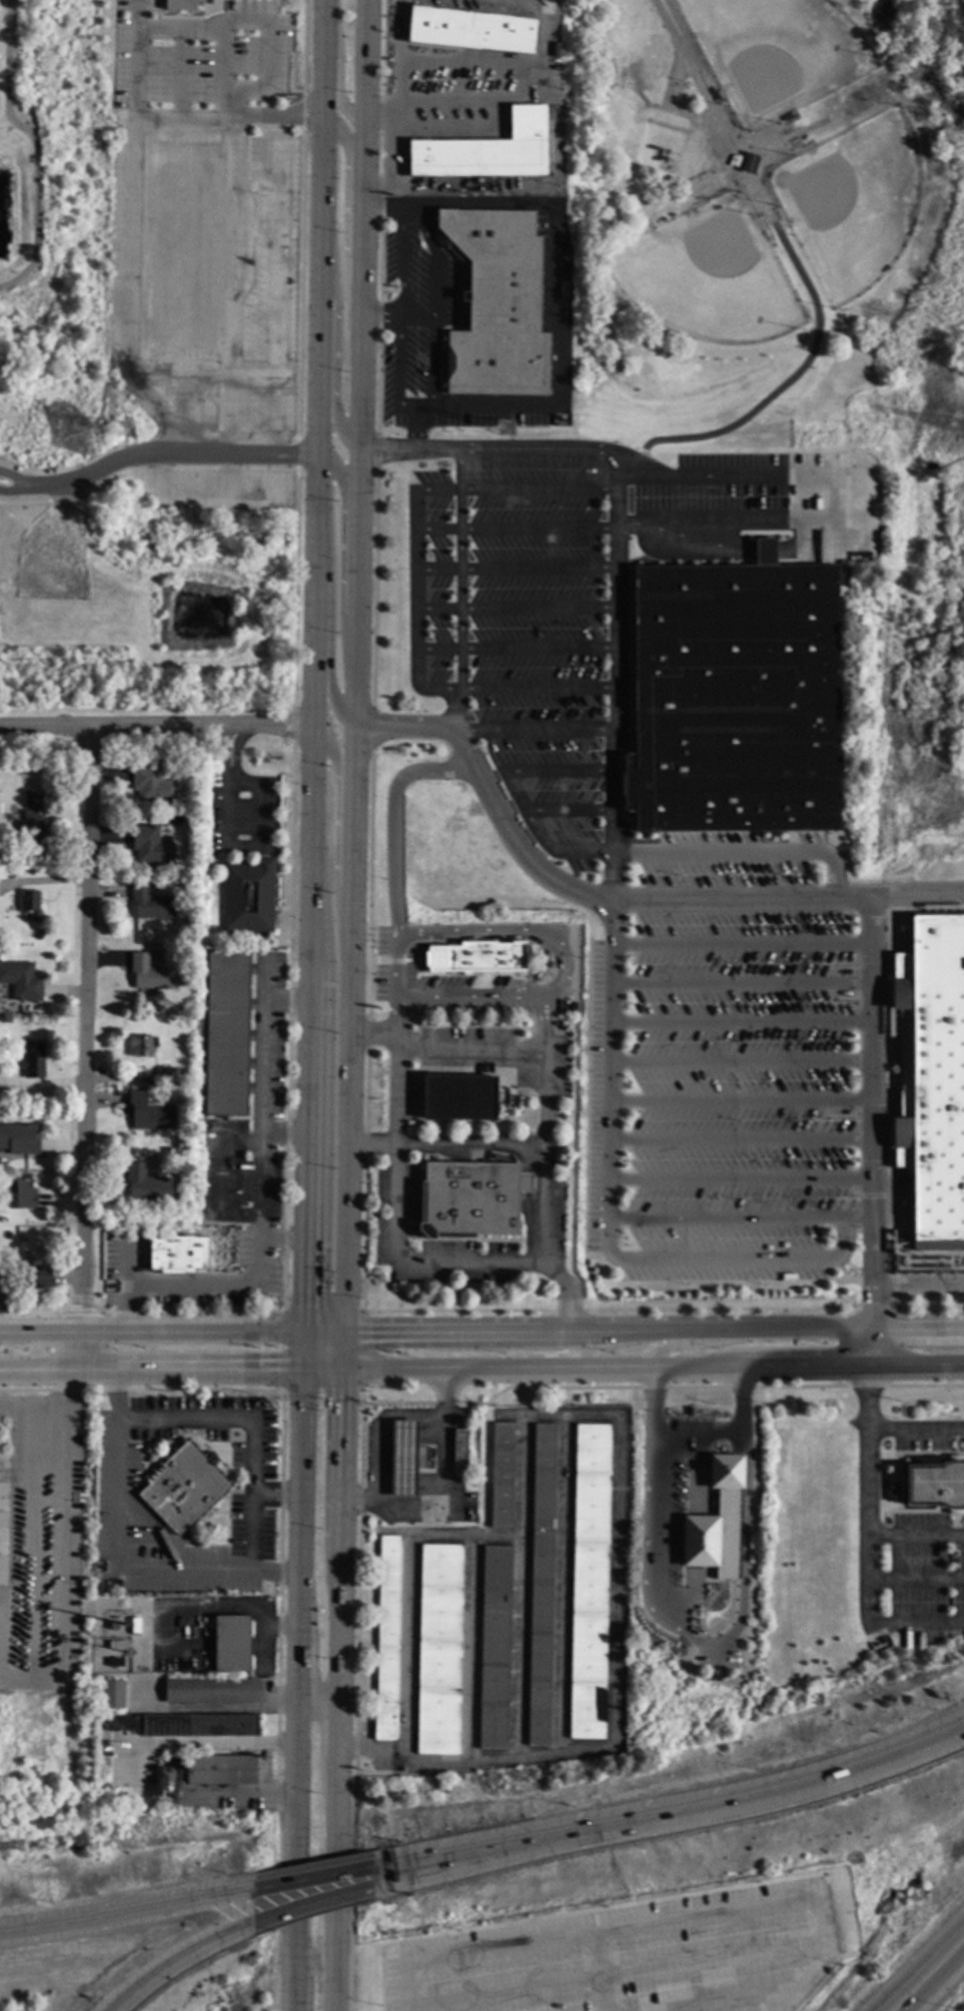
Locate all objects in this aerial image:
building: (180, 5)
road: (138, 15)
road: (542, 24)
building: (470, 31)
road: (397, 49)
building: (555, 51)
road: (679, 52)
park: (777, 53)
road: (265, 55)
parking lot: (201, 58)
road: (337, 65)
road: (179, 73)
road: (136, 82)
road: (377, 116)
road: (35, 145)
building: (485, 151)
road: (551, 157)
building: (747, 163)
road: (475, 200)
park: (852, 200)
road: (344, 209)
park: (776, 213)
road: (379, 217)
road: (301, 220)
road: (260, 226)
park: (712, 275)
road: (240, 283)
road: (123, 286)
road: (276, 294)
road: (433, 297)
building: (495, 305)
road: (399, 313)
road: (397, 316)
road: (335, 342)
road: (180, 379)
road: (426, 407)
power tower: (508, 429)
road: (416, 430)
power tower: (128, 433)
road: (184, 448)
road: (376, 451)
road: (572, 451)
road: (298, 453)
road: (29, 485)
road: (60, 495)
road: (30, 502)
road: (717, 517)
road: (514, 528)
building: (763, 552)
road: (344, 556)
road: (514, 567)
road: (415, 586)
road: (294, 587)
road: (374, 587)
road: (460, 591)
road: (329, 604)
road: (515, 608)
road: (515, 648)
road: (311, 665)
road: (615, 678)
road: (355, 685)
building: (733, 699)
road: (154, 724)
road: (292, 724)
road: (371, 727)
road: (535, 727)
road: (560, 770)
road: (228, 774)
building: (153, 786)
building: (196, 802)
road: (227, 809)
road: (572, 811)
building: (152, 820)
building: (33, 821)
building: (165, 837)
building: (151, 847)
road: (643, 853)
road: (337, 855)
building: (2, 866)
parking lot: (660, 878)
building: (248, 896)
road: (616, 901)
building: (151, 904)
building: (30, 906)
road: (743, 944)
building: (477, 958)
road: (561, 966)
building: (151, 974)
building: (21, 981)
road: (743, 984)
building: (572, 1007)
road: (743, 1022)
road: (287, 1026)
road: (365, 1029)
building: (227, 1034)
road: (372, 1035)
building: (141, 1046)
road: (86, 1047)
road: (468, 1050)
building: (33, 1060)
road: (742, 1060)
building: (931, 1075)
building: (164, 1077)
building: (183, 1081)
road: (397, 1086)
building: (458, 1096)
road: (741, 1100)
building: (148, 1113)
road: (285, 1124)
road: (542, 1130)
road: (871, 1130)
building: (20, 1139)
road: (741, 1139)
road: (445, 1146)
building: (177, 1171)
road: (741, 1179)
building: (146, 1183)
building: (20, 1195)
building: (469, 1200)
road: (263, 1204)
road: (610, 1212)
road: (740, 1218)
road: (282, 1231)
building: (179, 1254)
building: (36, 1277)
building: (3, 1278)
road: (917, 1287)
road: (633, 1326)
traffic signals: (303, 1331)
traffic signals: (344, 1331)
road: (151, 1332)
road: (684, 1341)
road: (652, 1367)
traffic signals: (302, 1369)
road: (171, 1370)
traffic signals: (342, 1370)
road: (361, 1391)
road: (380, 1420)
road: (252, 1426)
road: (916, 1430)
road: (697, 1433)
building: (459, 1446)
building: (406, 1457)
building: (502, 1474)
building: (935, 1483)
building: (183, 1485)
road: (867, 1488)
road: (52, 1518)
building: (717, 1525)
road: (915, 1534)
road: (653, 1558)
road: (113, 1560)
building: (589, 1580)
road: (615, 1581)
building: (541, 1584)
road: (907, 1627)
building: (387, 1637)
building: (231, 1642)
building: (495, 1646)
building: (440, 1648)
road: (518, 1653)
road: (297, 1671)
building: (211, 1690)
road: (338, 1690)
building: (112, 1694)
road: (277, 1701)
road: (317, 1701)
road: (356, 1701)
road: (215, 1708)
building: (189, 1723)
building: (221, 1769)
road: (238, 1792)
road: (740, 1800)
road: (434, 1856)
road: (434, 1868)
road: (301, 1881)
road: (301, 1907)
road: (120, 1917)
road: (637, 1926)
parking lot: (630, 1956)
road: (174, 1963)
road: (919, 1970)
road: (598, 1972)
road: (613, 1974)
road: (935, 1980)
road: (726, 2000)
road: (784, 2000)

